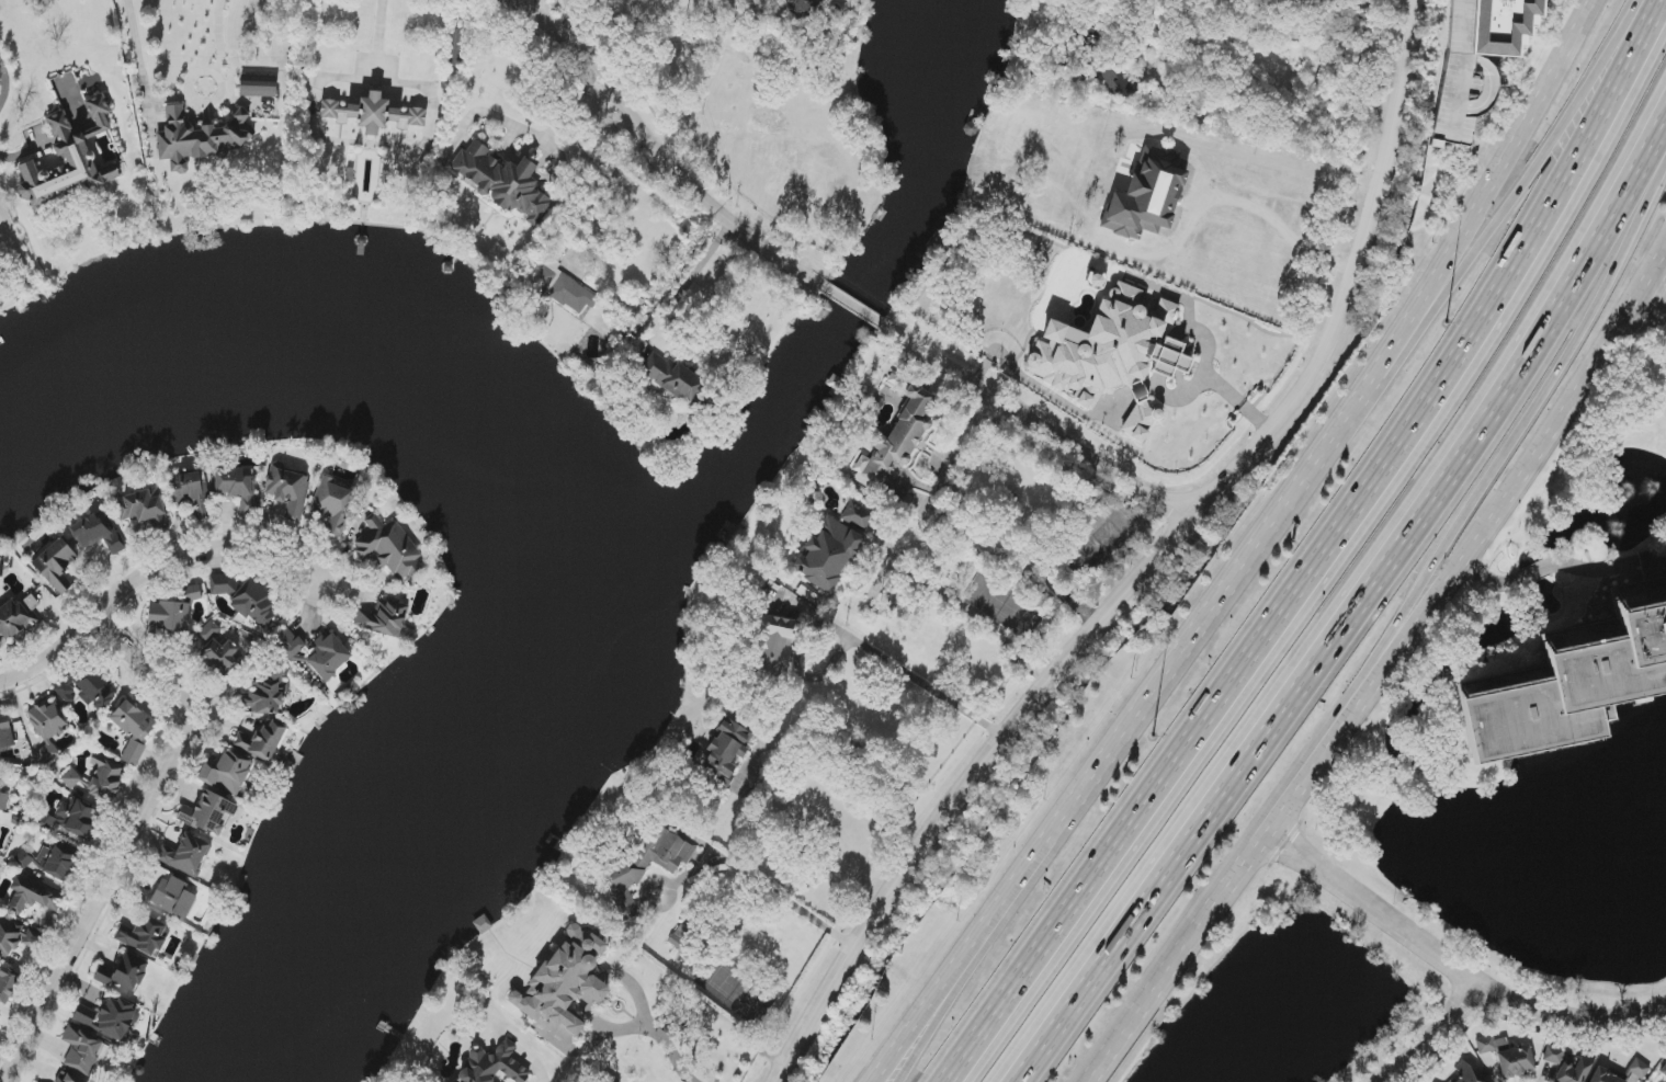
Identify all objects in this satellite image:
building: (801, 7)
road: (542, 22)
building: (1503, 25)
road: (382, 38)
building: (1115, 79)
road: (5, 82)
building: (258, 86)
road: (173, 99)
building: (373, 114)
road: (525, 129)
building: (199, 138)
road: (5, 156)
building: (69, 159)
road: (676, 160)
road: (1285, 167)
building: (501, 181)
road: (605, 192)
building: (1147, 194)
road: (1497, 228)
road: (693, 280)
building: (563, 288)
road: (1654, 297)
road: (857, 308)
building: (1112, 354)
building: (672, 377)
road: (1237, 401)
road: (1039, 425)
building: (897, 439)
building: (174, 482)
building: (238, 488)
building: (288, 490)
road: (1488, 492)
building: (191, 494)
building: (333, 504)
building: (141, 508)
building: (858, 515)
building: (98, 534)
road: (1477, 547)
building: (389, 548)
road: (1005, 551)
road: (1255, 551)
road: (1324, 554)
building: (828, 555)
road: (1152, 565)
road: (1562, 565)
building: (56, 566)
road: (150, 574)
building: (193, 593)
building: (243, 597)
road: (1361, 613)
road: (976, 614)
building: (169, 616)
building: (16, 617)
building: (384, 618)
road: (861, 646)
building: (218, 648)
building: (774, 650)
building: (315, 653)
building: (97, 691)
building: (65, 692)
building: (1564, 693)
building: (268, 694)
building: (133, 721)
building: (47, 727)
building: (5, 732)
building: (261, 742)
building: (726, 751)
building: (134, 753)
building: (227, 773)
building: (105, 776)
building: (71, 778)
building: (3, 801)
building: (208, 815)
building: (73, 818)
road: (136, 836)
building: (185, 855)
building: (49, 861)
building: (624, 870)
road: (759, 882)
building: (32, 897)
building: (173, 898)
building: (145, 936)
building: (9, 938)
building: (682, 938)
road: (1179, 957)
road: (973, 963)
road: (1453, 968)
building: (124, 973)
building: (565, 980)
building: (8, 984)
building: (0, 1016)
building: (110, 1018)
road: (1442, 1039)
road: (667, 1040)
building: (81, 1050)
building: (1508, 1056)
building: (494, 1066)
building: (1569, 1066)
building: (1639, 1069)
building: (1664, 1071)
building: (1470, 1075)
building: (1605, 1077)
building: (1435, 1081)

